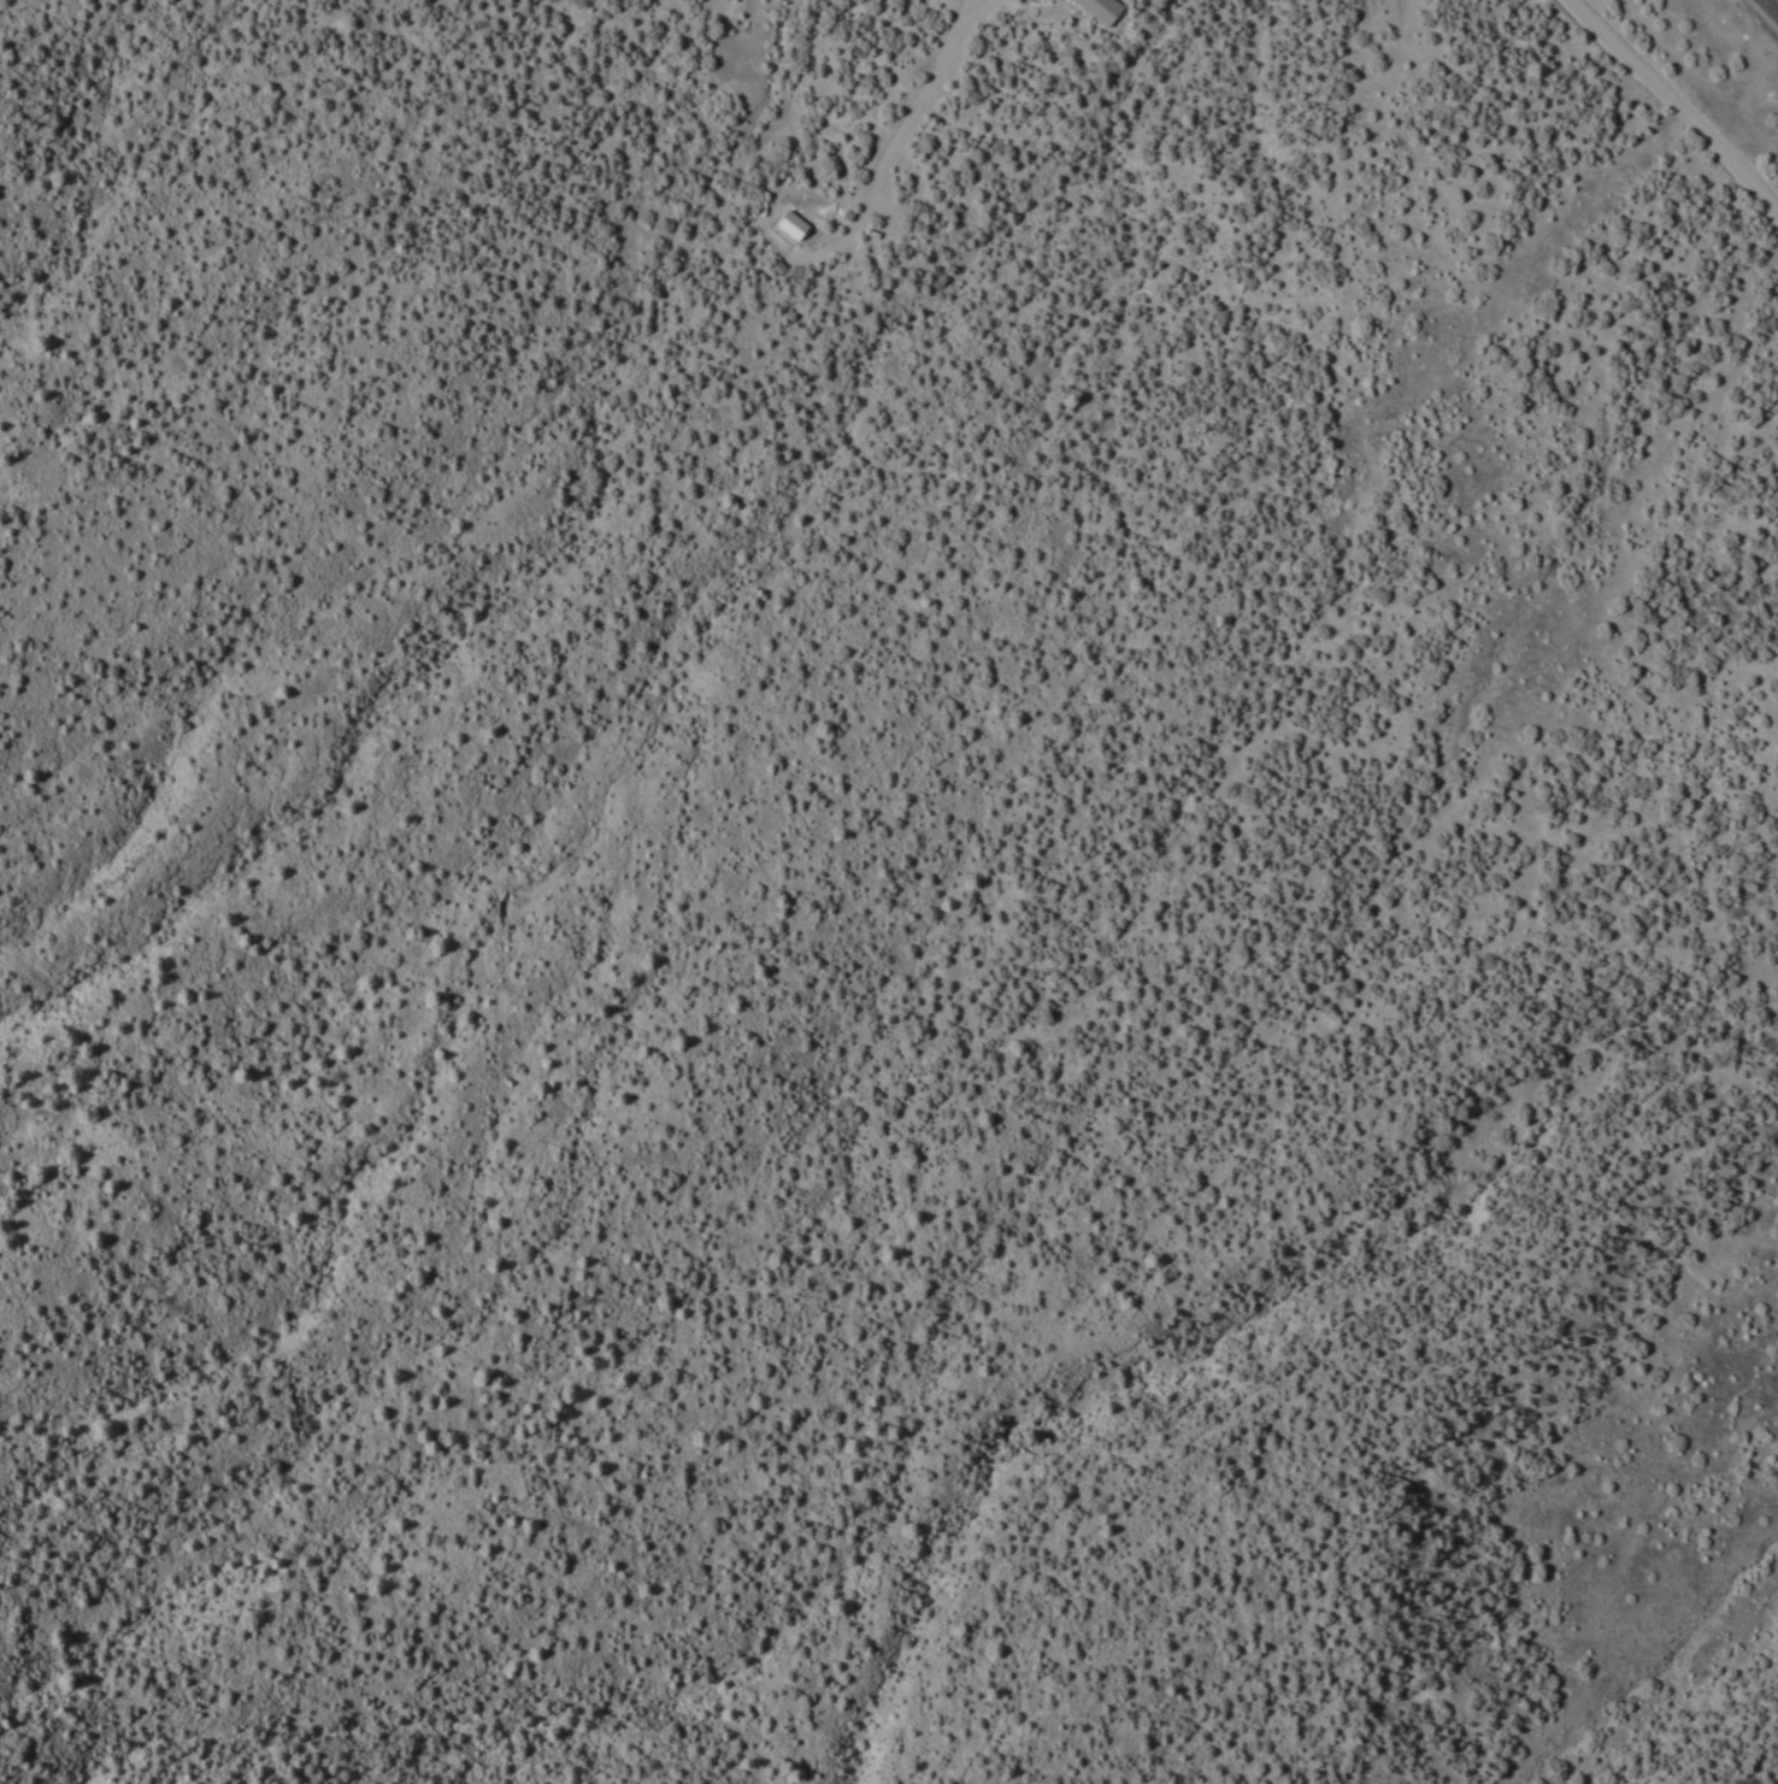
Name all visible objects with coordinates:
railway: (1768, 8)
road: (1683, 98)

